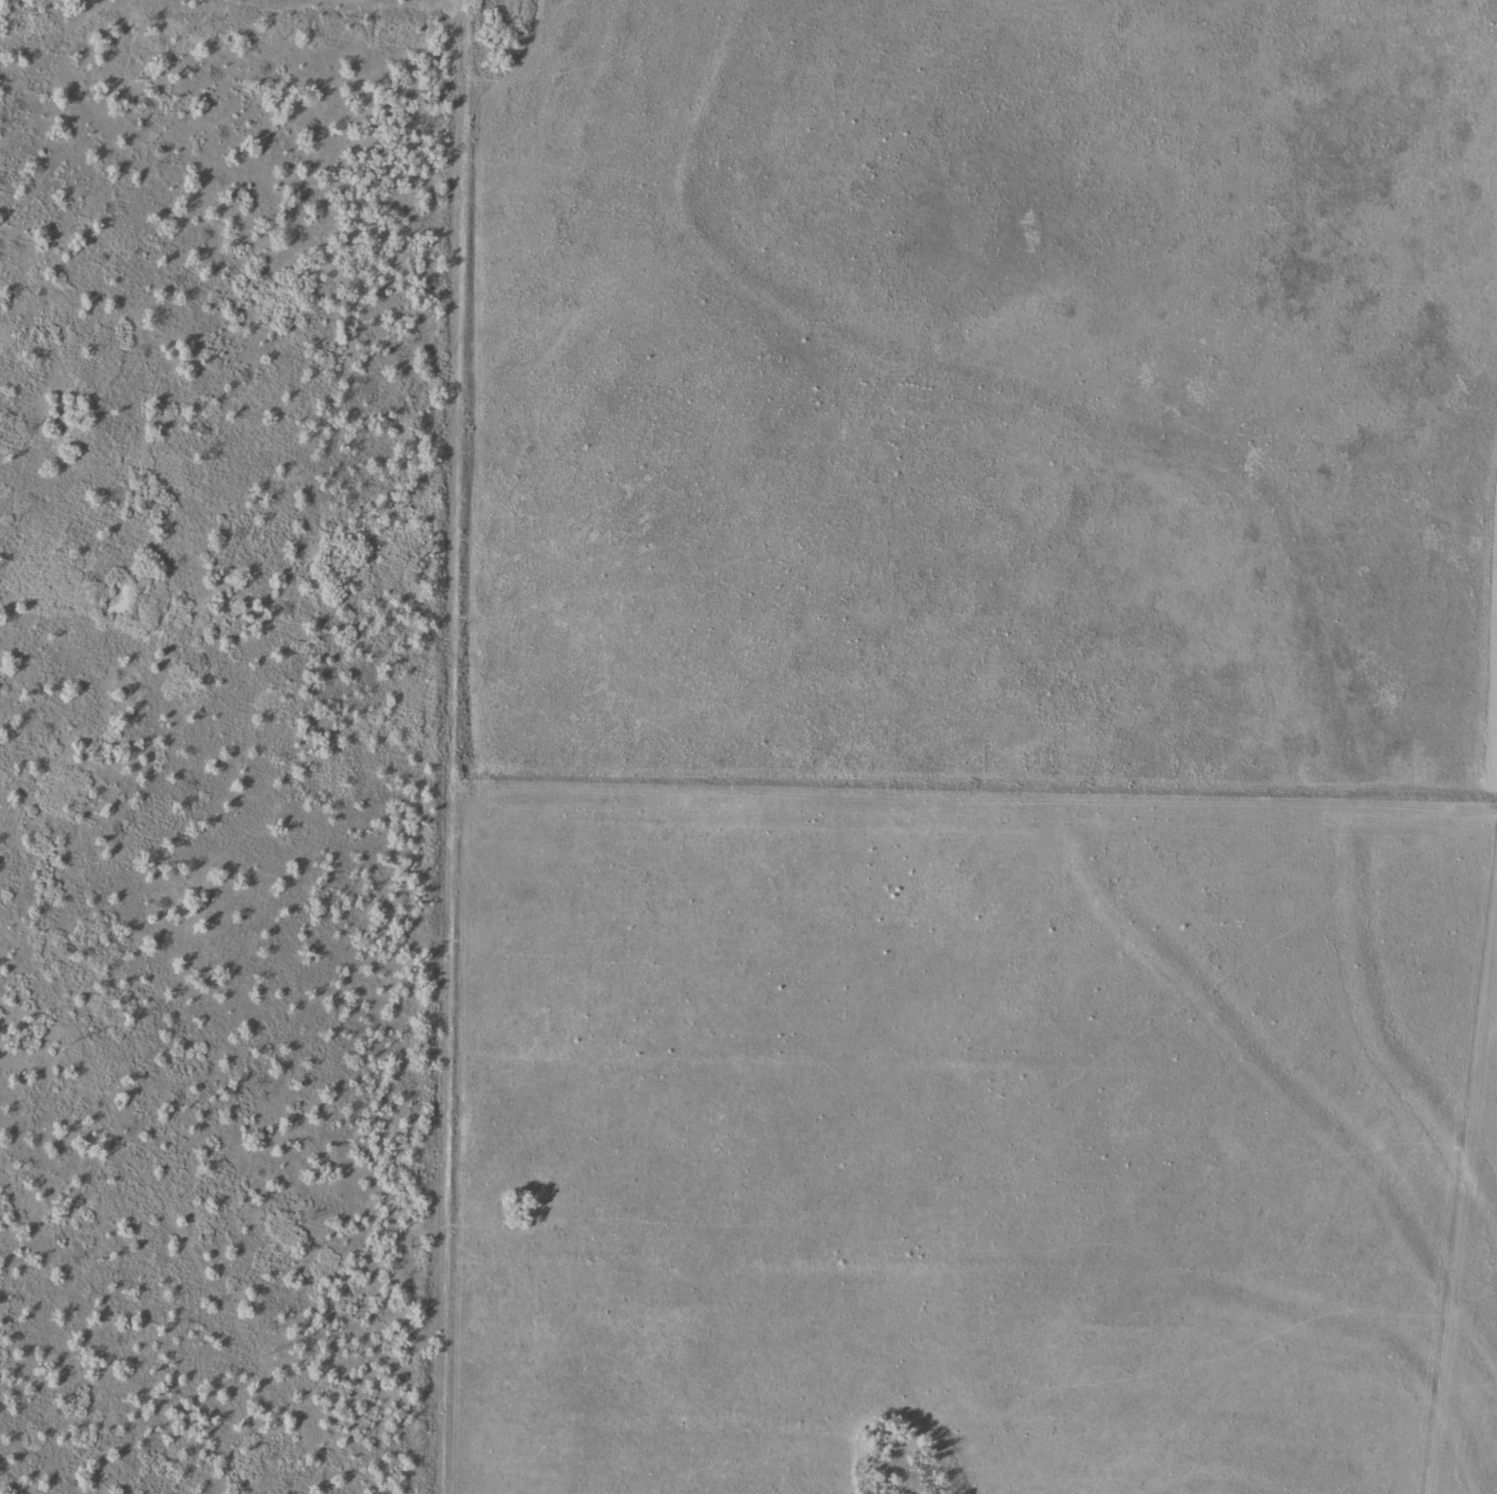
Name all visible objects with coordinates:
power tower: (71, 1044)
power tower: (271, 1355)

